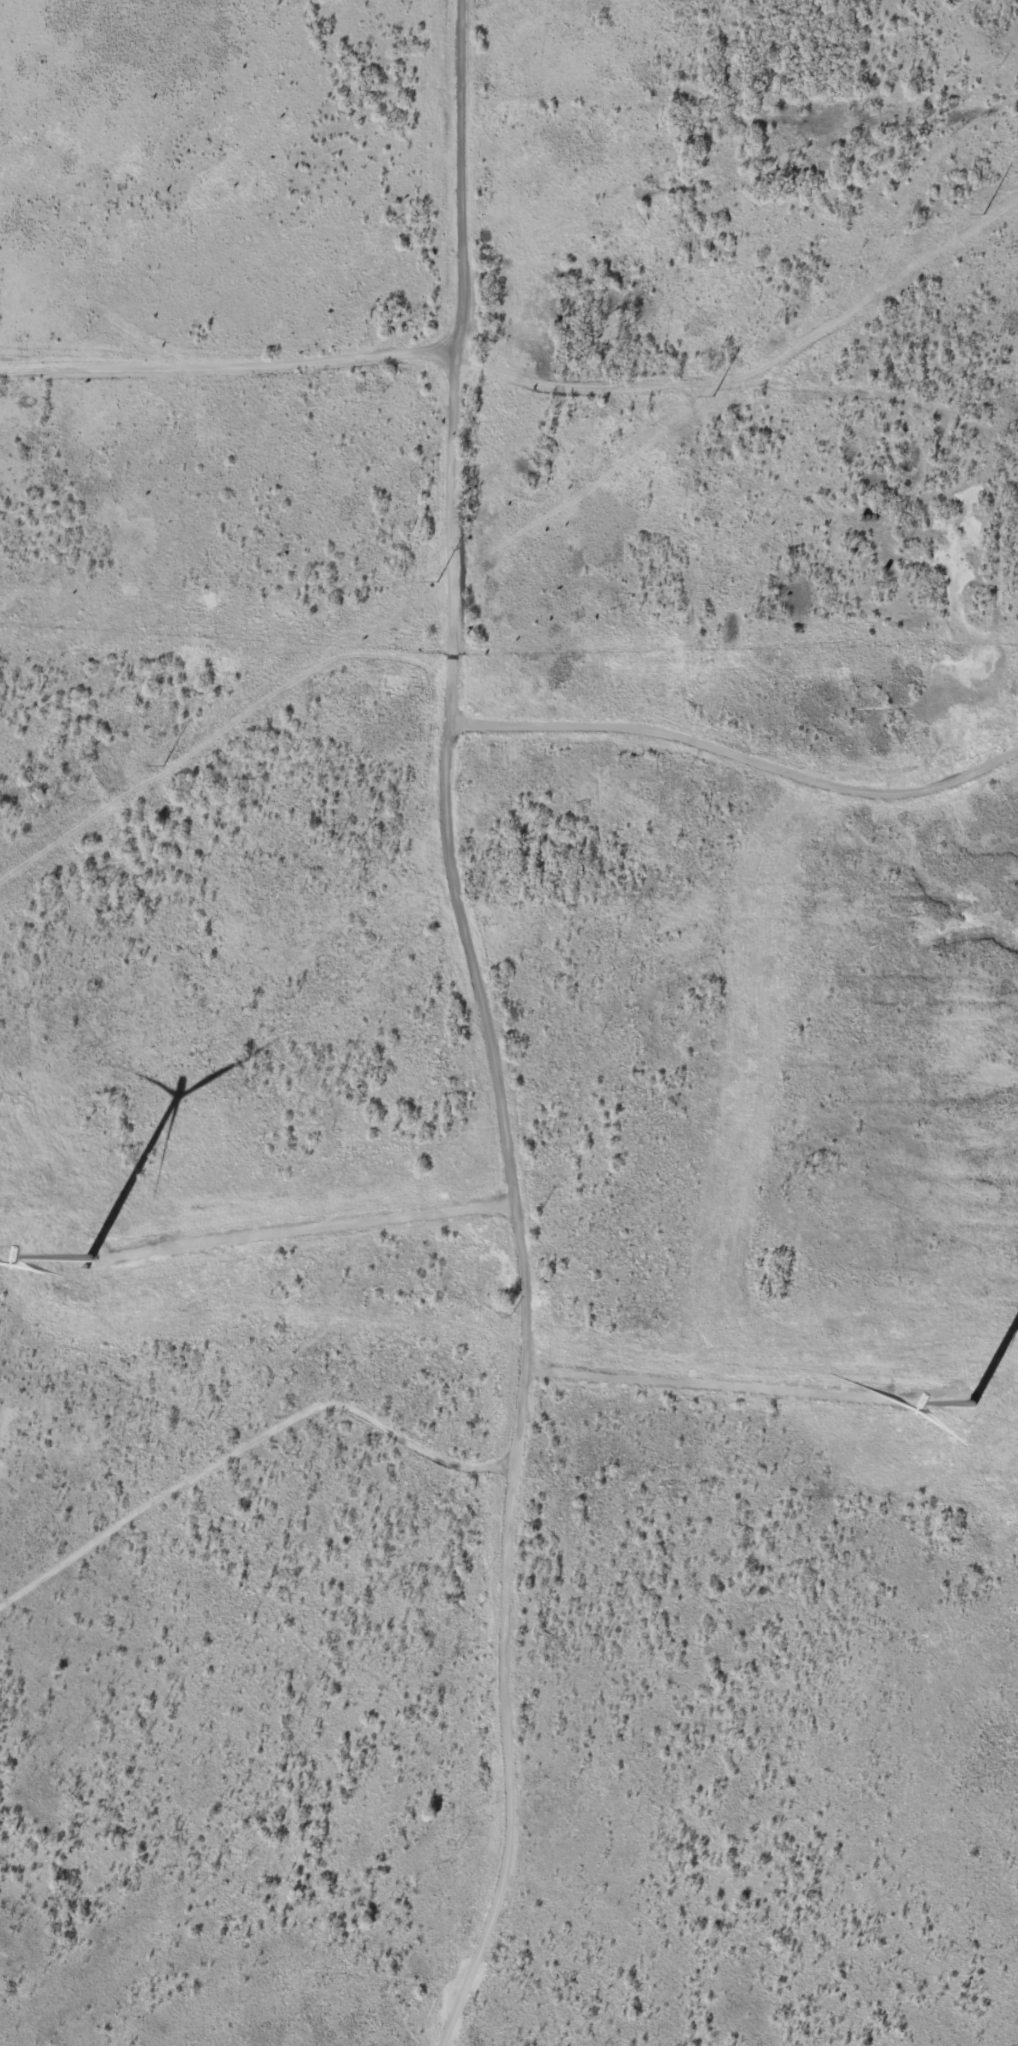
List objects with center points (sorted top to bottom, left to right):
road: (583, 406)
road: (898, 465)
road: (434, 785)
road: (147, 1157)
wind turbine: (87, 1260)
wind turbine: (967, 1408)
road: (236, 1504)
road: (504, 1732)

